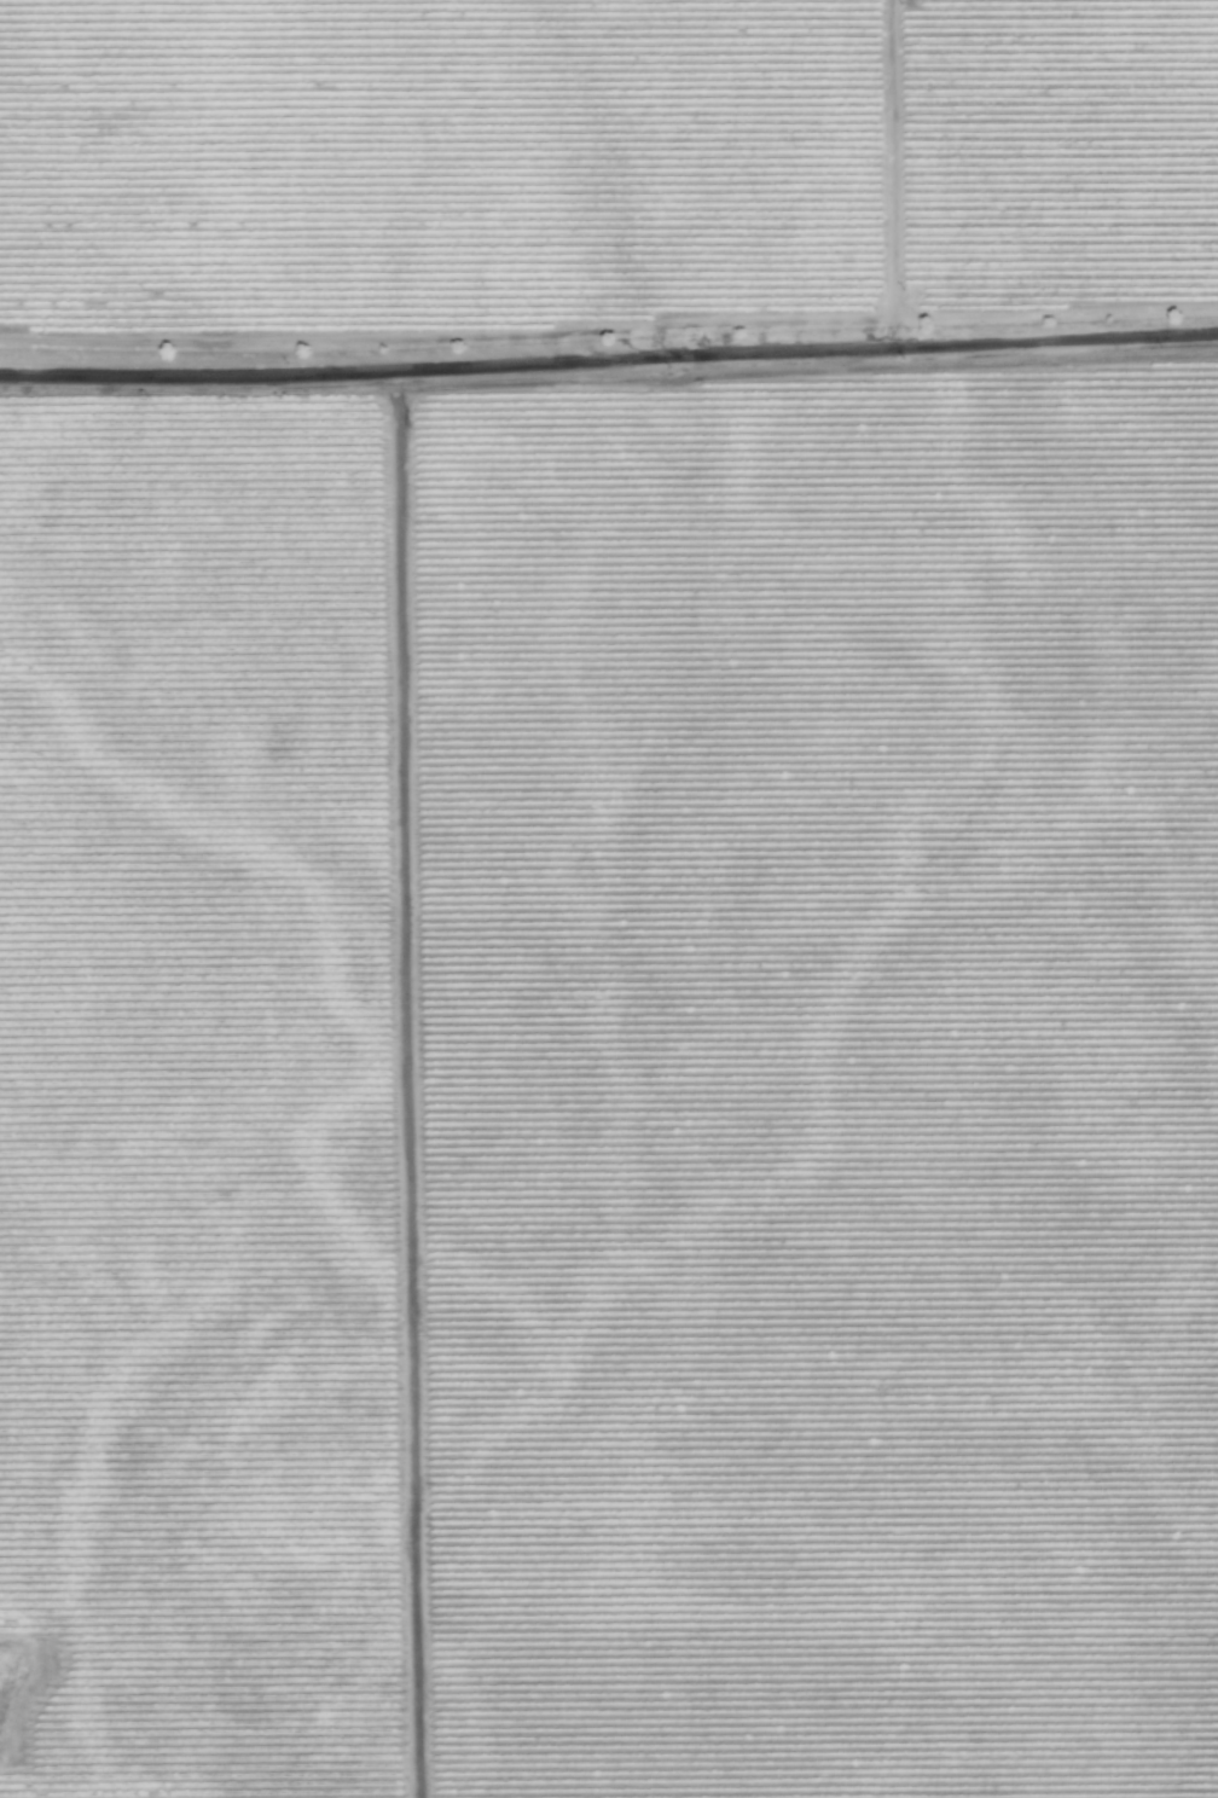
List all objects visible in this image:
road: (609, 359)
crop: (609, 899)

